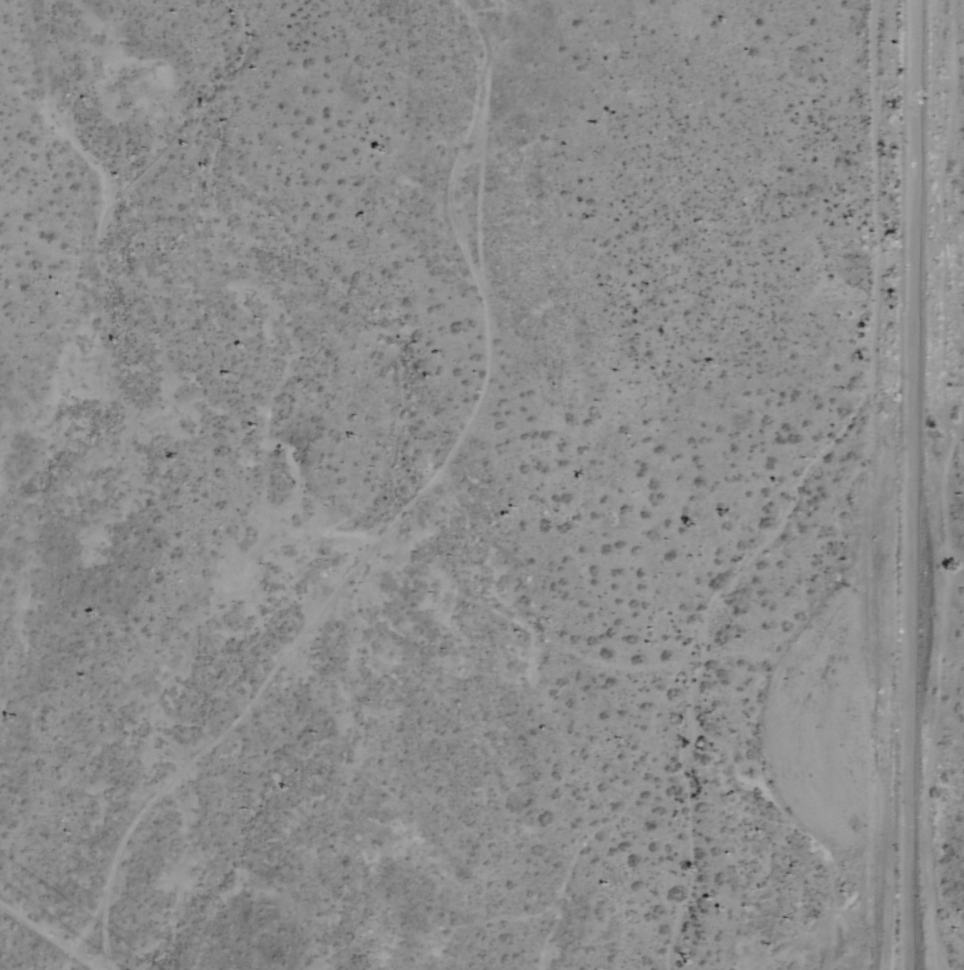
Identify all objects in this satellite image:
road: (910, 485)

